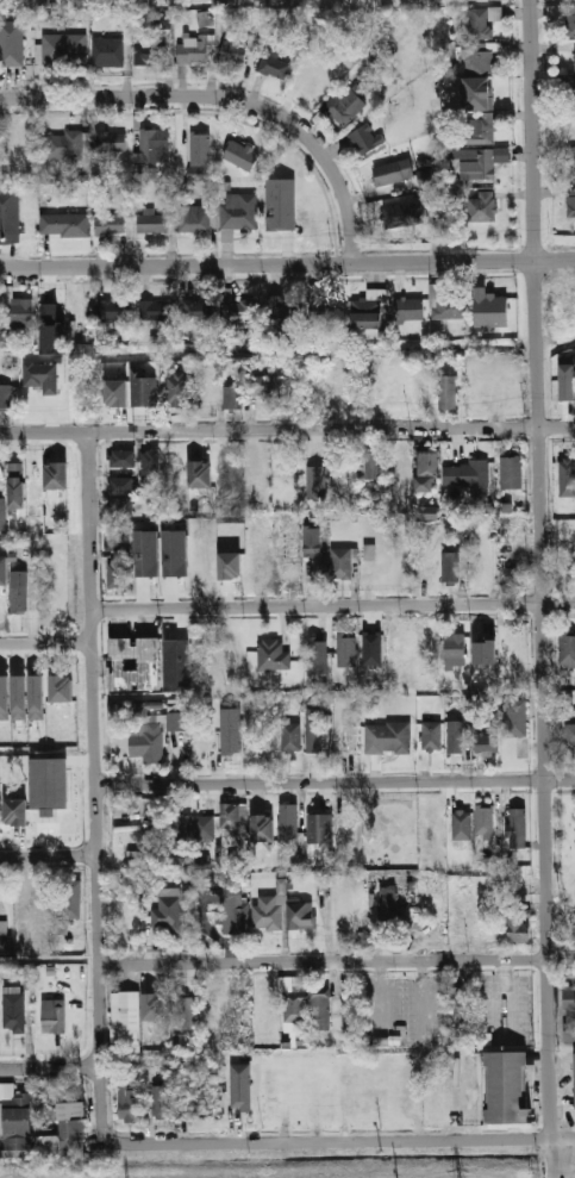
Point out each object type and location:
building: (574, 0)
building: (218, 1)
building: (290, 4)
building: (204, 18)
building: (160, 20)
building: (568, 20)
building: (480, 21)
building: (11, 43)
building: (63, 49)
building: (192, 50)
building: (107, 51)
building: (233, 52)
building: (150, 54)
building: (574, 55)
building: (476, 56)
building: (274, 64)
building: (308, 81)
building: (483, 92)
building: (573, 92)
road: (227, 99)
building: (344, 106)
building: (480, 129)
building: (365, 139)
building: (110, 143)
building: (63, 147)
building: (154, 147)
building: (198, 154)
building: (239, 155)
building: (571, 161)
building: (483, 162)
building: (144, 170)
building: (393, 172)
building: (571, 202)
building: (280, 204)
building: (482, 206)
building: (238, 213)
building: (10, 216)
building: (402, 216)
building: (194, 219)
building: (155, 222)
building: (64, 224)
building: (110, 225)
road: (554, 260)
road: (265, 263)
building: (445, 303)
building: (494, 306)
park: (562, 307)
building: (80, 308)
building: (50, 310)
building: (155, 310)
building: (323, 310)
building: (368, 310)
building: (408, 310)
building: (20, 312)
building: (112, 312)
building: (195, 312)
building: (239, 312)
building: (277, 316)
building: (565, 359)
building: (42, 376)
building: (565, 380)
building: (257, 387)
building: (510, 387)
building: (142, 388)
building: (176, 388)
building: (343, 391)
building: (448, 392)
building: (115, 393)
building: (6, 397)
building: (232, 398)
road: (287, 430)
building: (123, 459)
building: (149, 462)
building: (373, 465)
building: (426, 470)
building: (512, 472)
building: (199, 473)
building: (55, 475)
building: (467, 475)
building: (567, 478)
building: (320, 481)
building: (14, 485)
building: (121, 486)
building: (125, 503)
building: (1, 515)
building: (510, 528)
building: (312, 541)
building: (369, 551)
building: (512, 551)
building: (145, 553)
building: (174, 553)
building: (340, 563)
building: (229, 565)
building: (426, 566)
building: (451, 567)
building: (118, 568)
building: (2, 571)
building: (515, 576)
road: (542, 588)
road: (333, 604)
building: (18, 606)
building: (401, 640)
road: (46, 643)
building: (454, 646)
building: (369, 648)
building: (568, 648)
building: (346, 649)
building: (483, 650)
building: (318, 655)
building: (273, 656)
building: (176, 662)
building: (135, 665)
building: (60, 688)
building: (18, 697)
building: (36, 697)
building: (4, 698)
building: (513, 717)
building: (230, 730)
building: (348, 730)
building: (151, 731)
building: (314, 731)
building: (570, 735)
building: (432, 736)
building: (290, 737)
building: (455, 737)
building: (387, 740)
building: (486, 743)
building: (205, 748)
road: (336, 781)
road: (96, 786)
building: (14, 811)
building: (45, 812)
building: (232, 818)
building: (485, 822)
building: (288, 824)
building: (462, 824)
building: (202, 827)
building: (261, 828)
building: (518, 828)
building: (319, 830)
building: (180, 833)
road: (49, 855)
building: (71, 899)
building: (388, 906)
building: (468, 910)
building: (282, 911)
building: (167, 914)
building: (236, 916)
building: (2, 927)
building: (519, 927)
road: (337, 961)
building: (152, 1005)
building: (460, 1005)
building: (294, 1009)
building: (321, 1011)
building: (14, 1012)
building: (183, 1012)
building: (569, 1015)
building: (54, 1016)
building: (125, 1020)
road: (50, 1068)
building: (574, 1076)
building: (507, 1087)
building: (127, 1096)
building: (239, 1097)
building: (162, 1102)
building: (14, 1122)
building: (64, 1132)
road: (342, 1142)

